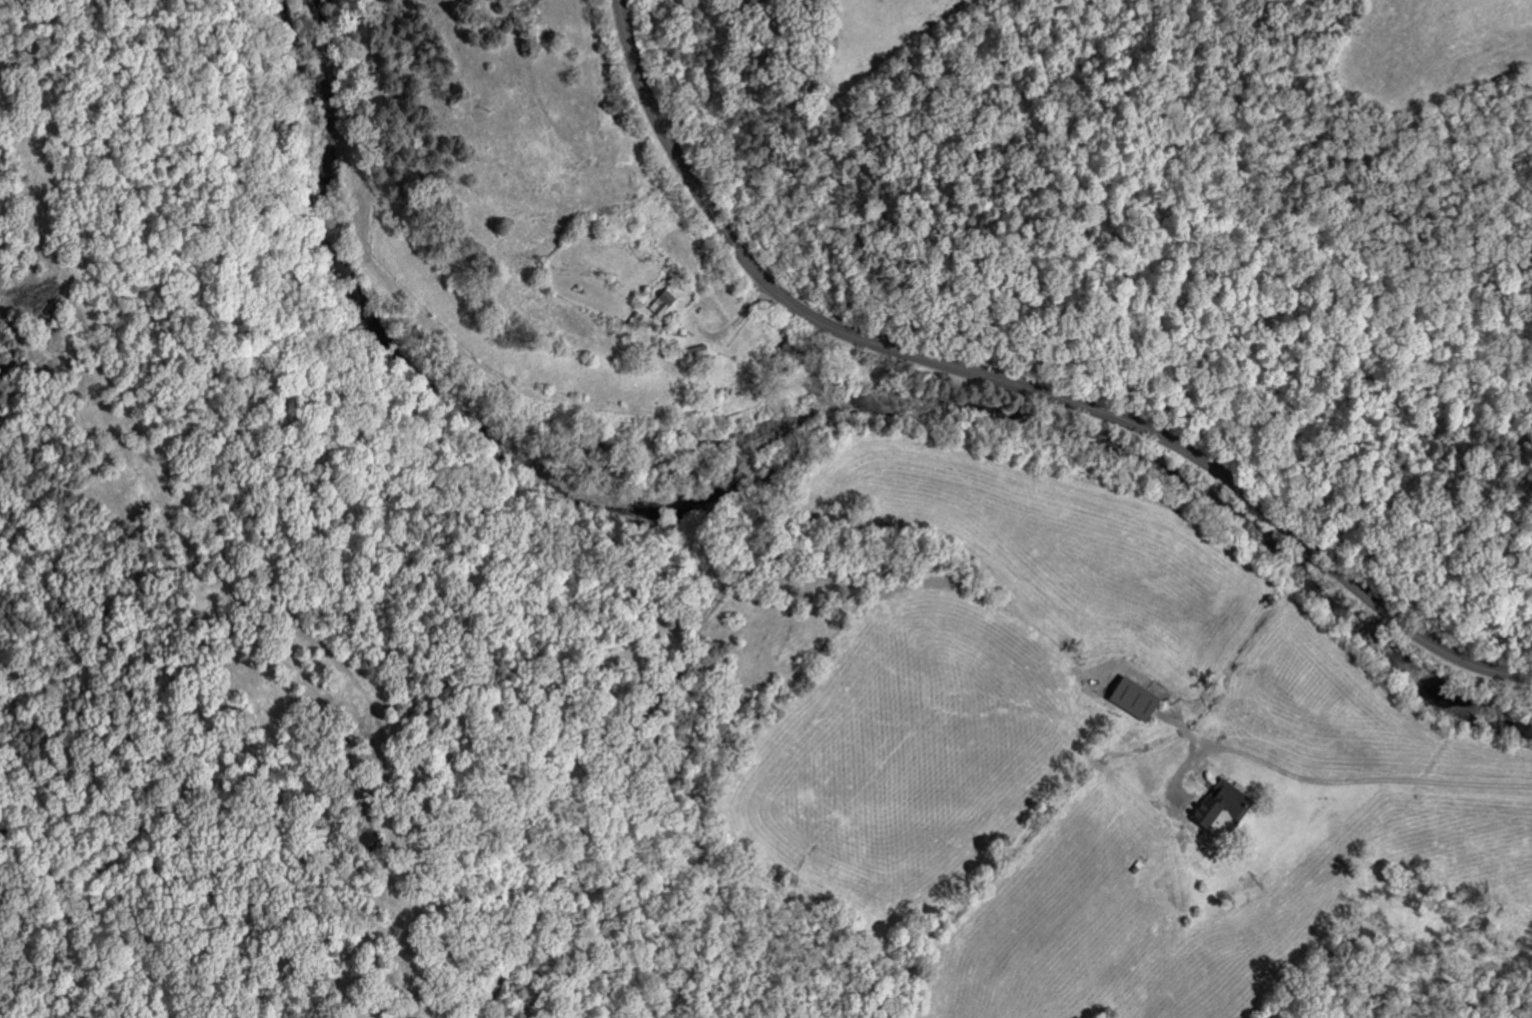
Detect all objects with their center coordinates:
building: (663, 302)
road: (1019, 386)
building: (1128, 698)
road: (1340, 781)
building: (1215, 808)

